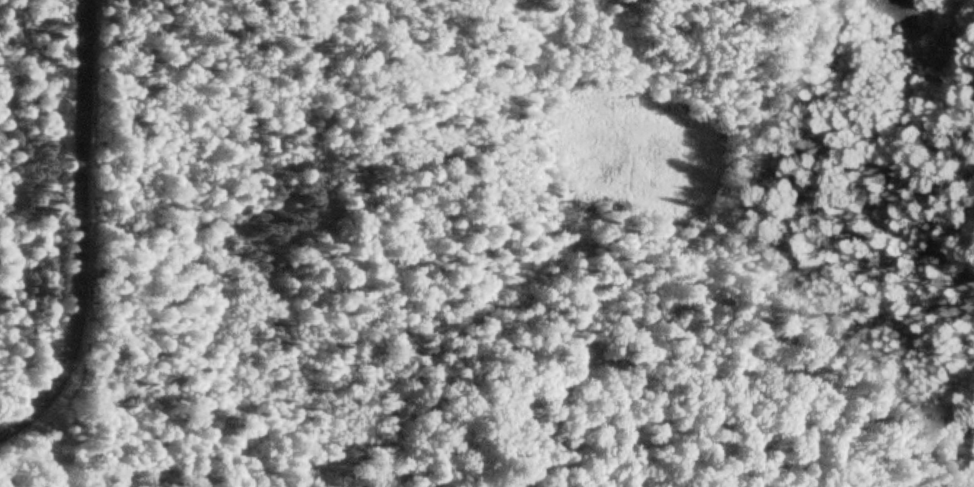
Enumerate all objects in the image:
road: (79, 232)

